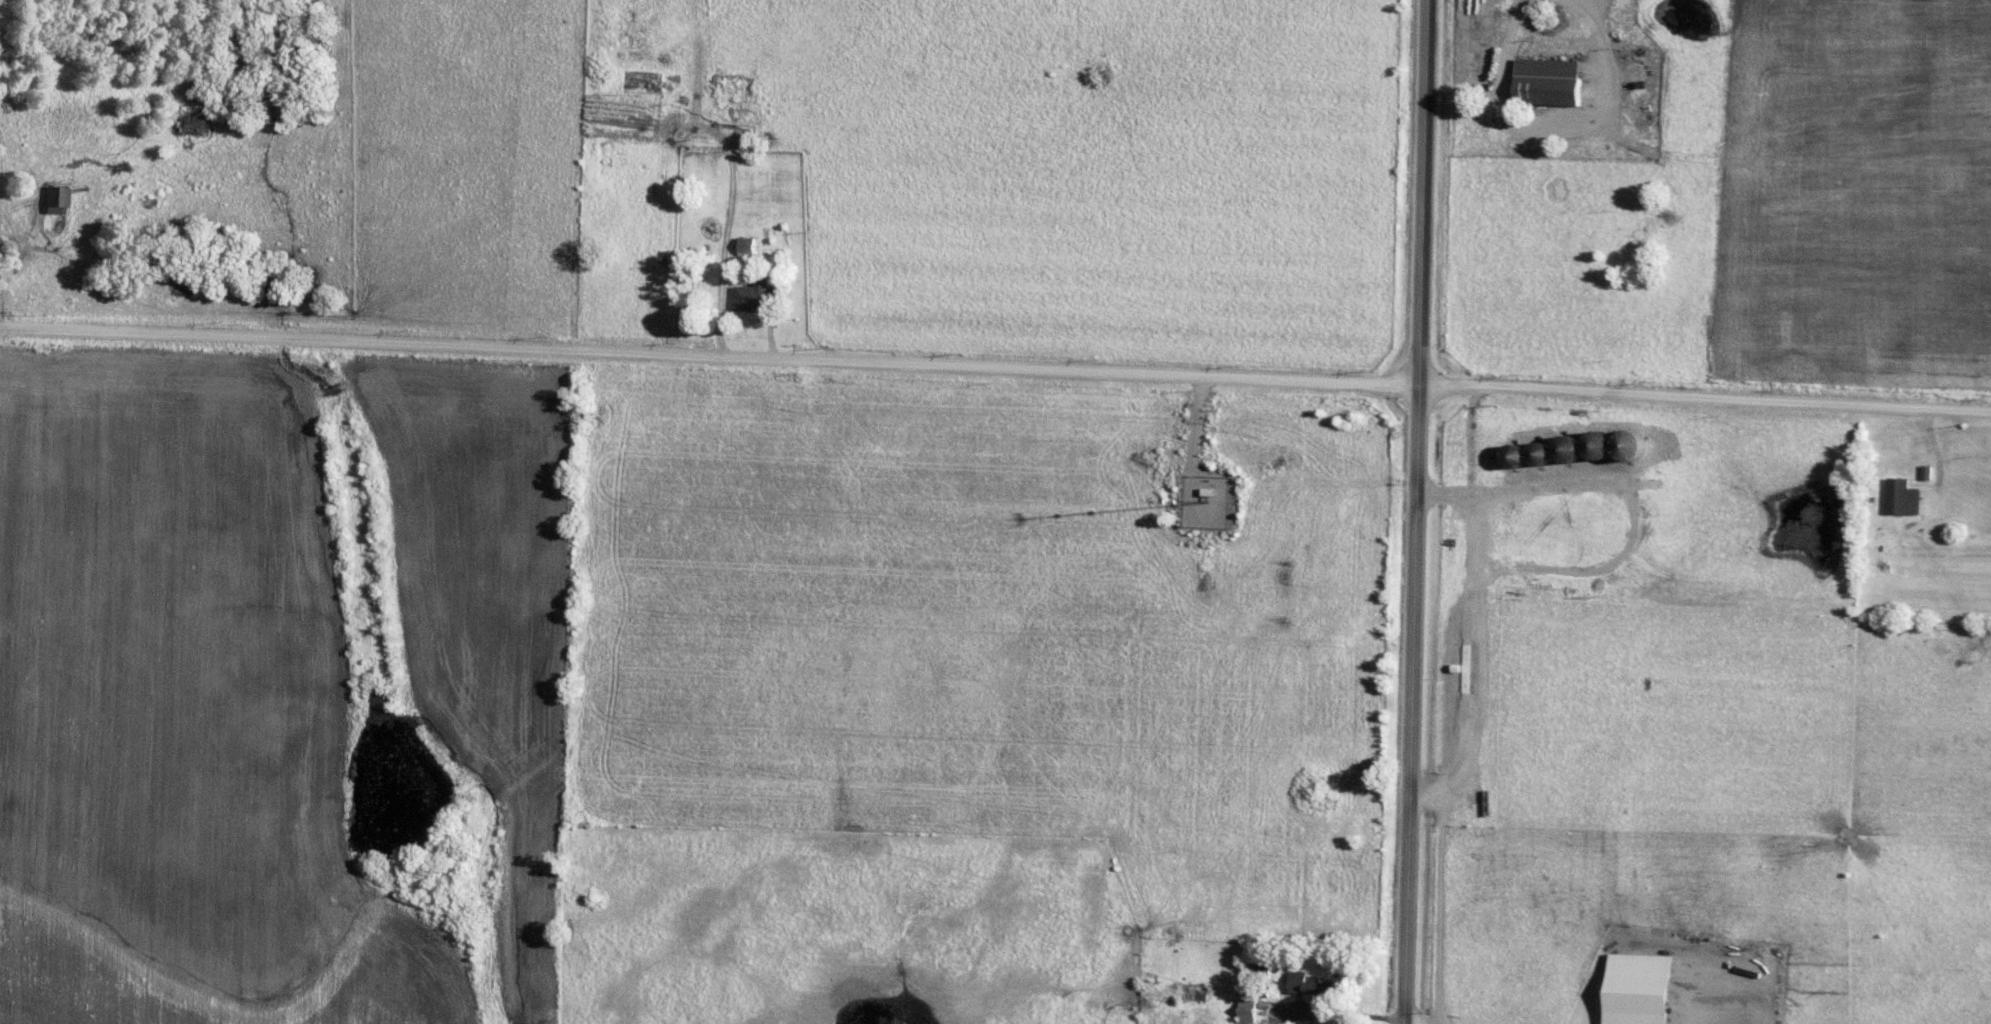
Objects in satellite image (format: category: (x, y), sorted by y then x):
road: (1506, 44)
building: (1549, 79)
building: (747, 243)
building: (754, 293)
road: (995, 368)
building: (1904, 493)
road: (1415, 511)
road: (1447, 682)
road: (1476, 736)
road: (1428, 792)
building: (1643, 987)
road: (1341, 1012)

